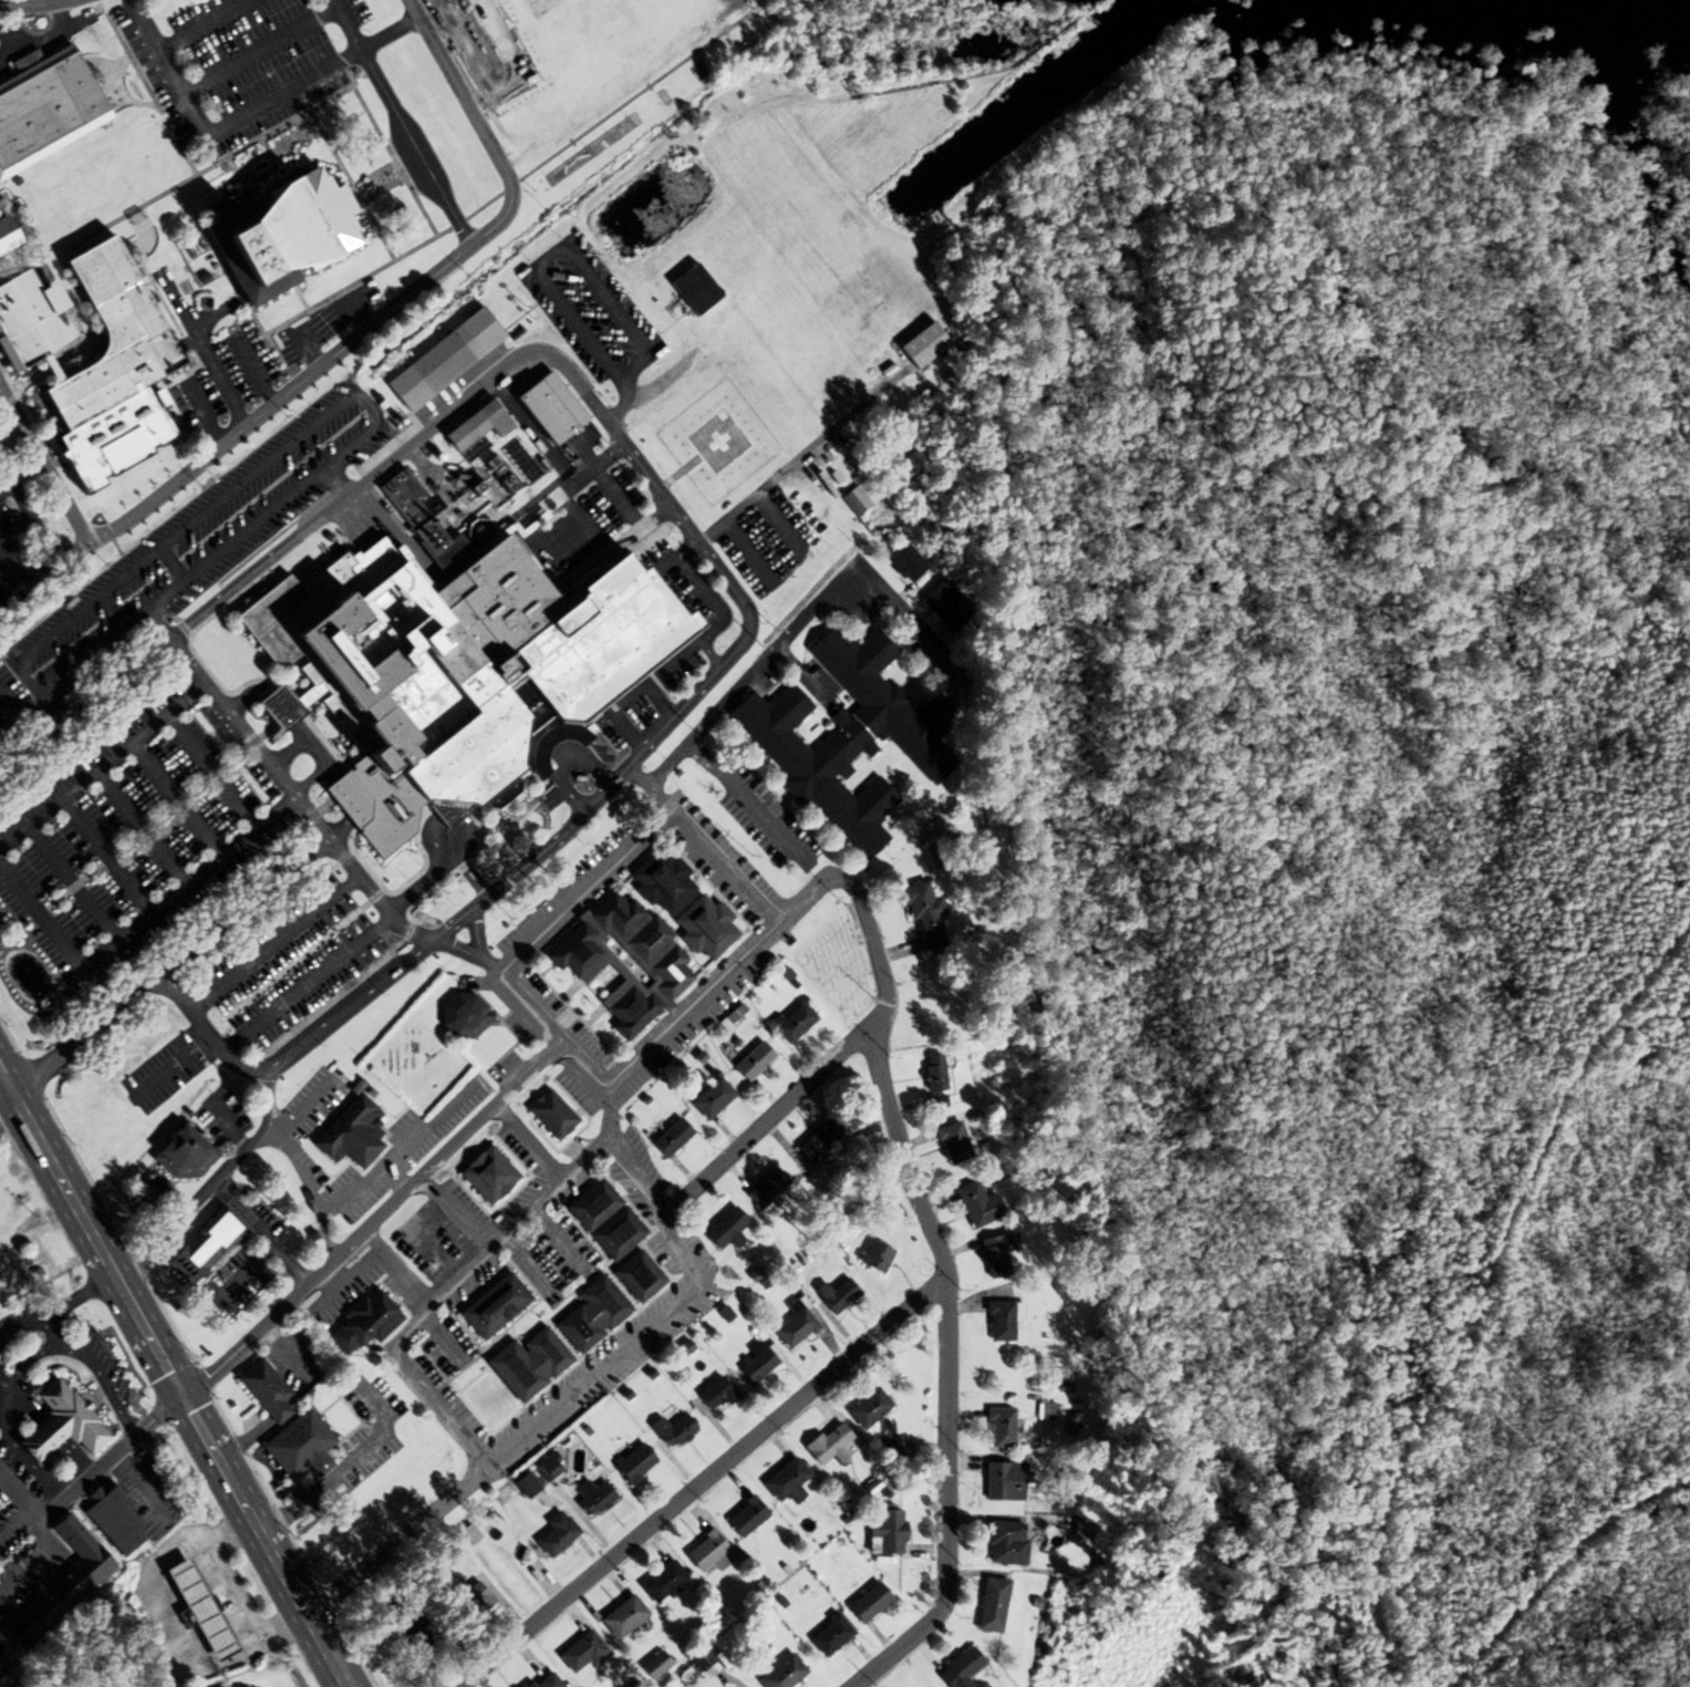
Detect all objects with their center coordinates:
road: (33, 4)
parking lot: (352, 11)
road: (344, 23)
road: (201, 24)
parking lot: (1, 37)
road: (44, 38)
road: (14, 48)
road: (258, 51)
parking lot: (235, 66)
road: (889, 87)
building: (48, 107)
road: (248, 107)
road: (653, 115)
road: (662, 127)
road: (413, 148)
building: (287, 234)
building: (10, 236)
road: (178, 302)
road: (356, 311)
building: (35, 322)
parking lot: (326, 325)
building: (922, 345)
road: (309, 346)
road: (335, 356)
road: (207, 360)
building: (443, 360)
parking lot: (250, 364)
road: (252, 372)
building: (120, 373)
building: (953, 381)
road: (8, 397)
parking lot: (199, 405)
building: (548, 408)
road: (203, 411)
building: (476, 426)
airport: (718, 437)
helipad: (718, 439)
road: (677, 470)
road: (6, 486)
road: (610, 495)
building: (407, 498)
building: (854, 500)
road: (25, 509)
road: (576, 520)
road: (15, 530)
parking lot: (27, 535)
road: (536, 547)
road: (42, 560)
building: (906, 565)
building: (946, 606)
road: (800, 613)
road: (748, 618)
road: (704, 631)
road: (706, 653)
road: (84, 661)
building: (450, 673)
road: (656, 702)
road: (621, 735)
building: (847, 739)
road: (718, 769)
road: (703, 844)
building: (662, 881)
road: (802, 896)
building: (922, 914)
road: (548, 923)
building: (704, 928)
building: (624, 961)
road: (172, 964)
building: (462, 1016)
building: (792, 1023)
building: (753, 1063)
building: (933, 1075)
building: (711, 1099)
road: (782, 1107)
road: (485, 1110)
road: (10, 1111)
building: (551, 1115)
building: (352, 1134)
building: (671, 1139)
building: (818, 1141)
building: (953, 1143)
building: (182, 1153)
road: (564, 1170)
building: (487, 1174)
road: (639, 1177)
building: (766, 1189)
building: (977, 1205)
road: (450, 1208)
building: (604, 1219)
building: (726, 1229)
road: (497, 1231)
road: (675, 1243)
building: (204, 1245)
building: (995, 1256)
building: (874, 1258)
road: (395, 1265)
building: (636, 1276)
road: (946, 1283)
building: (836, 1295)
building: (494, 1305)
building: (591, 1314)
building: (1000, 1322)
building: (363, 1323)
building: (794, 1327)
road: (437, 1337)
building: (528, 1364)
building: (755, 1365)
road: (593, 1373)
road: (175, 1375)
road: (415, 1381)
building: (265, 1390)
traffic signals: (186, 1395)
building: (715, 1395)
building: (868, 1408)
building: (1046, 1411)
building: (59, 1422)
building: (999, 1428)
building: (672, 1430)
building: (828, 1445)
building: (299, 1446)
building: (633, 1463)
building: (546, 1468)
road: (344, 1469)
road: (702, 1480)
building: (1004, 1480)
building: (786, 1481)
building: (1084, 1481)
building: (525, 1484)
building: (592, 1497)
building: (745, 1517)
building: (113, 1519)
building: (885, 1532)
road: (397, 1534)
building: (554, 1534)
building: (1006, 1542)
building: (707, 1554)
building: (76, 1563)
building: (663, 1581)
road: (228, 1591)
building: (469, 1598)
building: (868, 1603)
building: (991, 1604)
building: (198, 1607)
building: (622, 1616)
building: (29, 1622)
building: (407, 1625)
building: (828, 1634)
building: (582, 1650)
building: (4, 1660)
building: (654, 1665)
building: (704, 1665)
building: (960, 1668)
building: (781, 1673)
building: (543, 1681)

